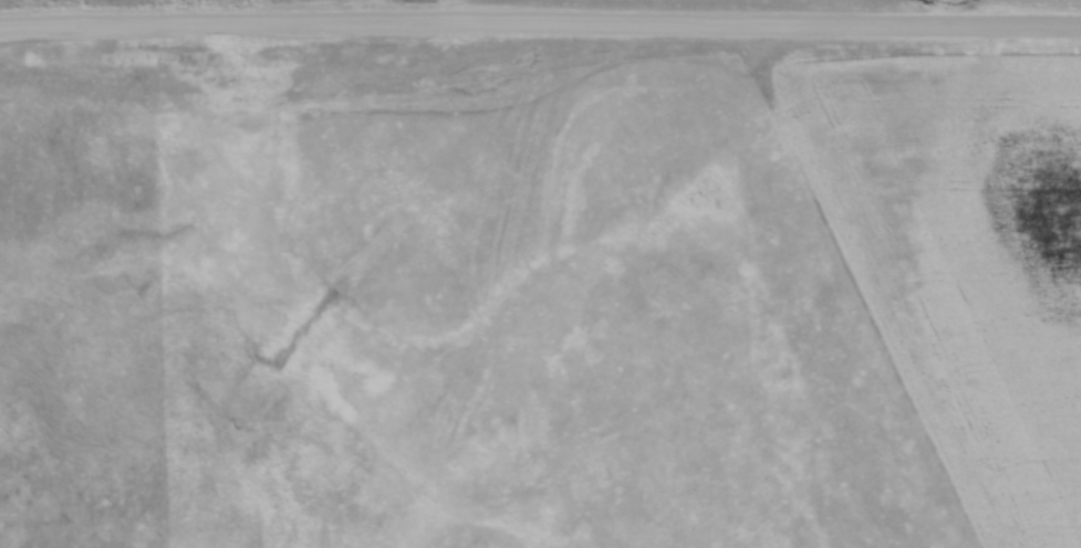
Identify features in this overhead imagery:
road: (540, 25)

